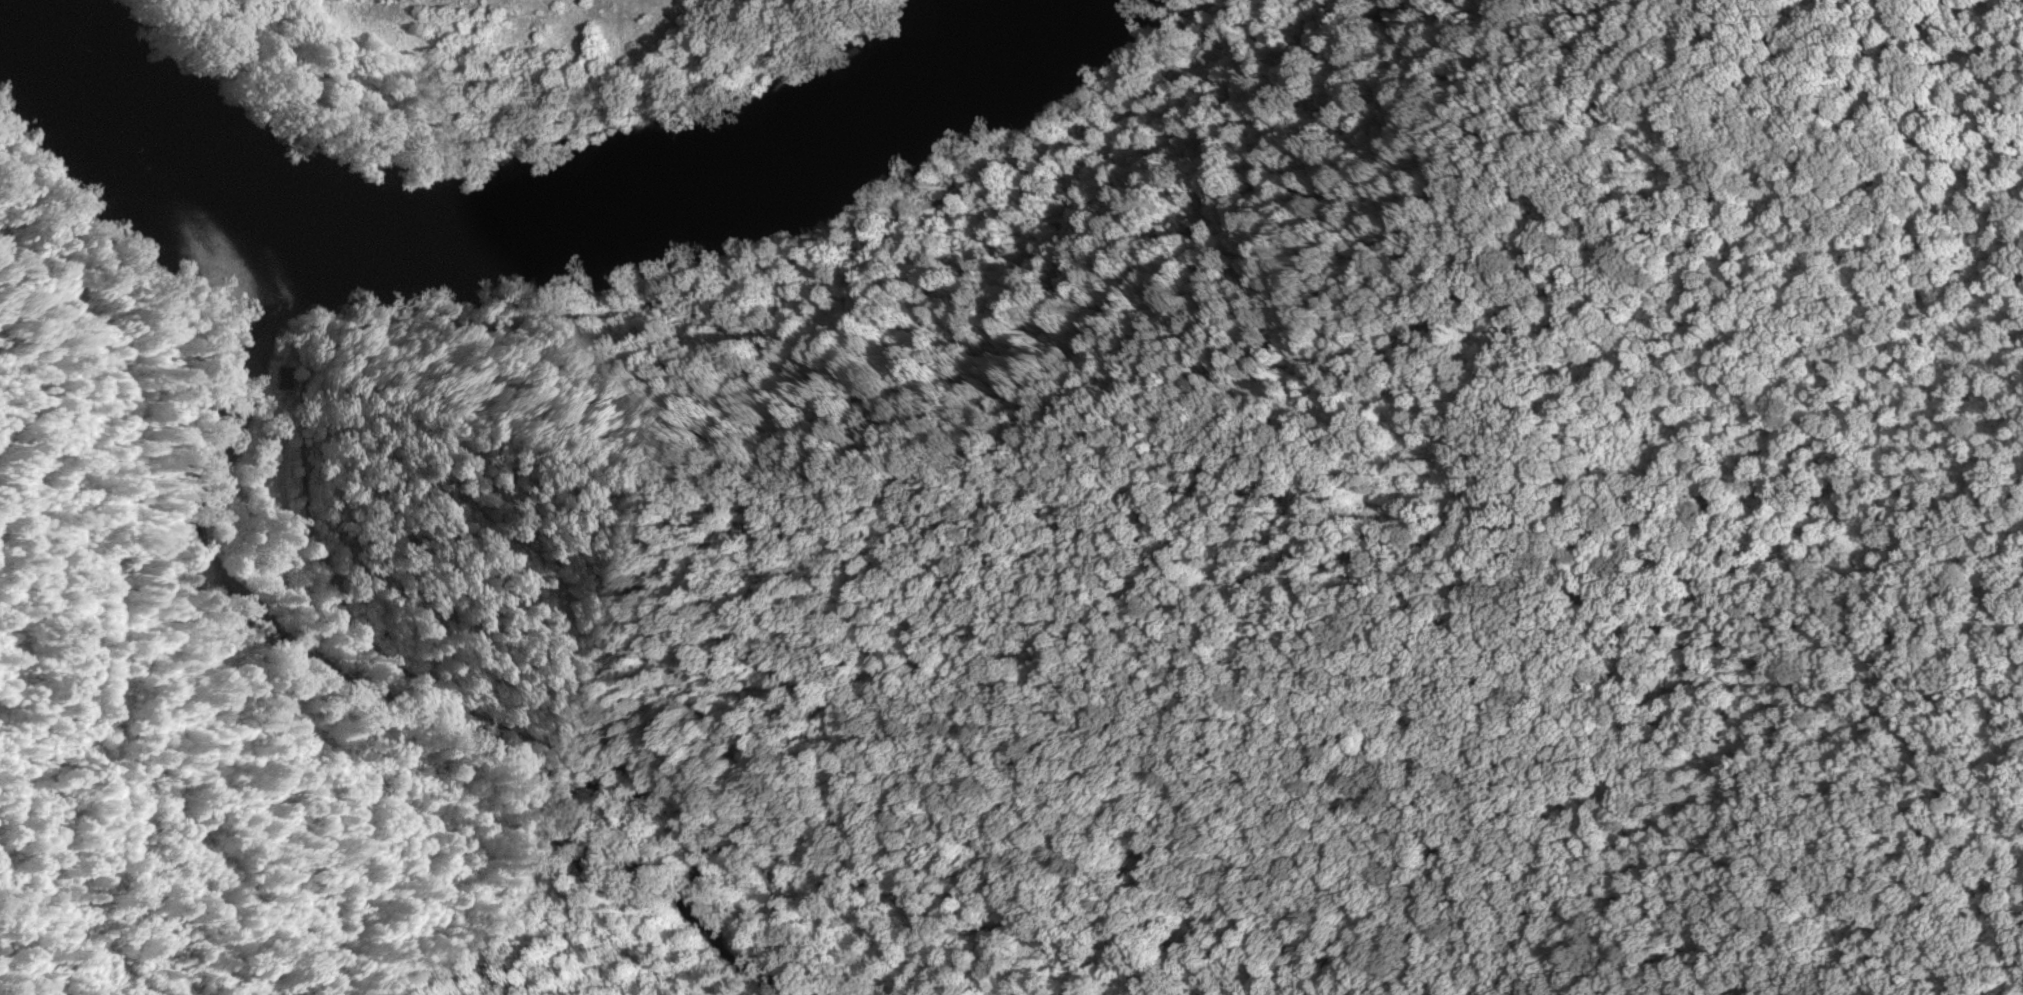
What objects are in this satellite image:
river: (487, 190)

